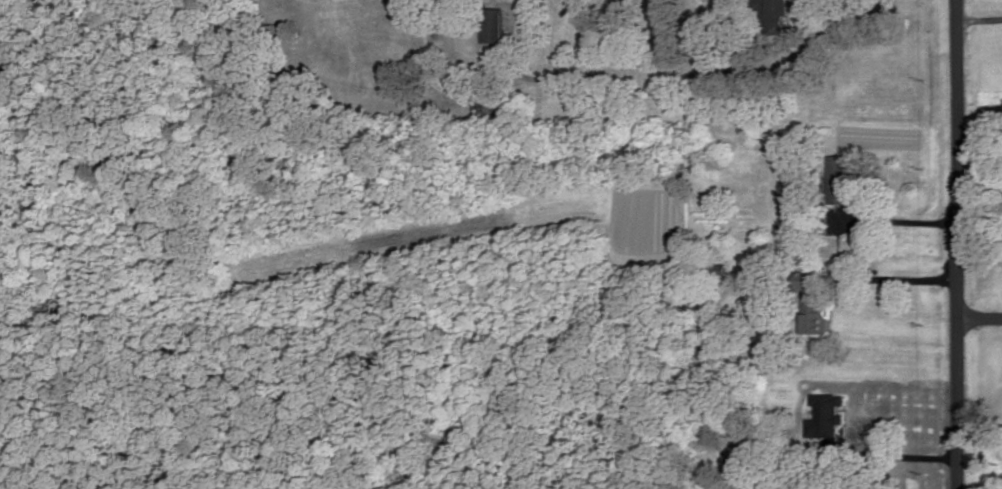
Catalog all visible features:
building: (731, 1)
road: (979, 17)
building: (492, 24)
road: (716, 71)
road: (896, 223)
road: (955, 244)
road: (898, 276)
building: (812, 303)
road: (978, 308)
building: (826, 414)
road: (897, 451)

